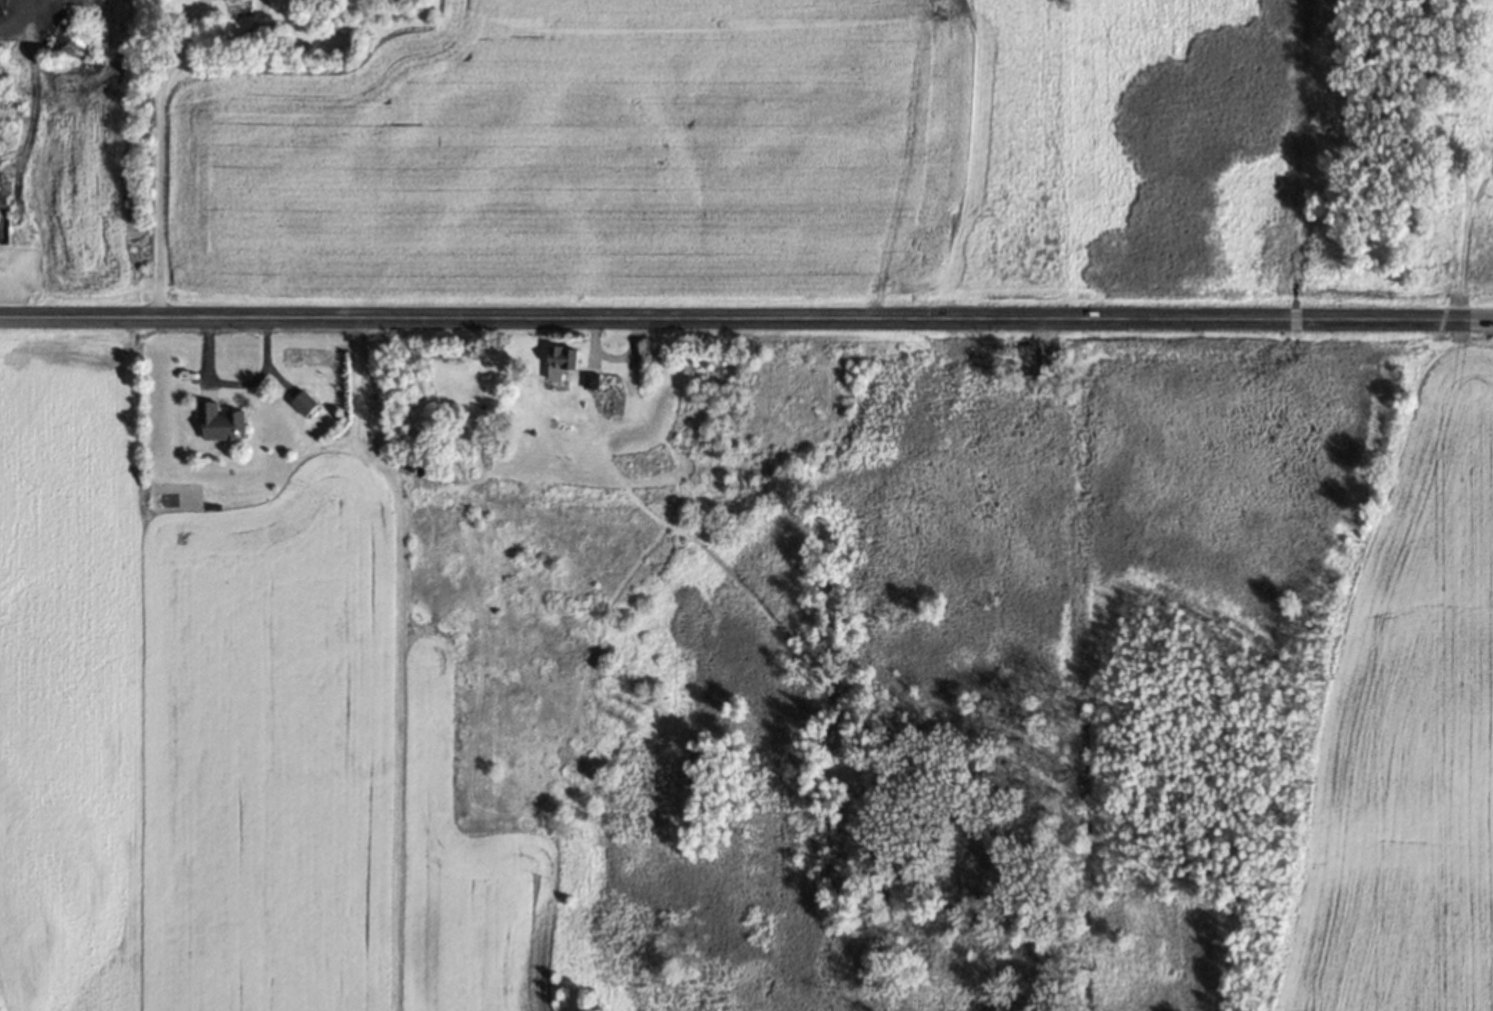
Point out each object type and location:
road: (177, 25)
road: (226, 38)
road: (160, 187)
road: (734, 314)
road: (1481, 318)
building: (559, 364)
building: (591, 379)
road: (235, 380)
building: (303, 403)
building: (220, 423)

